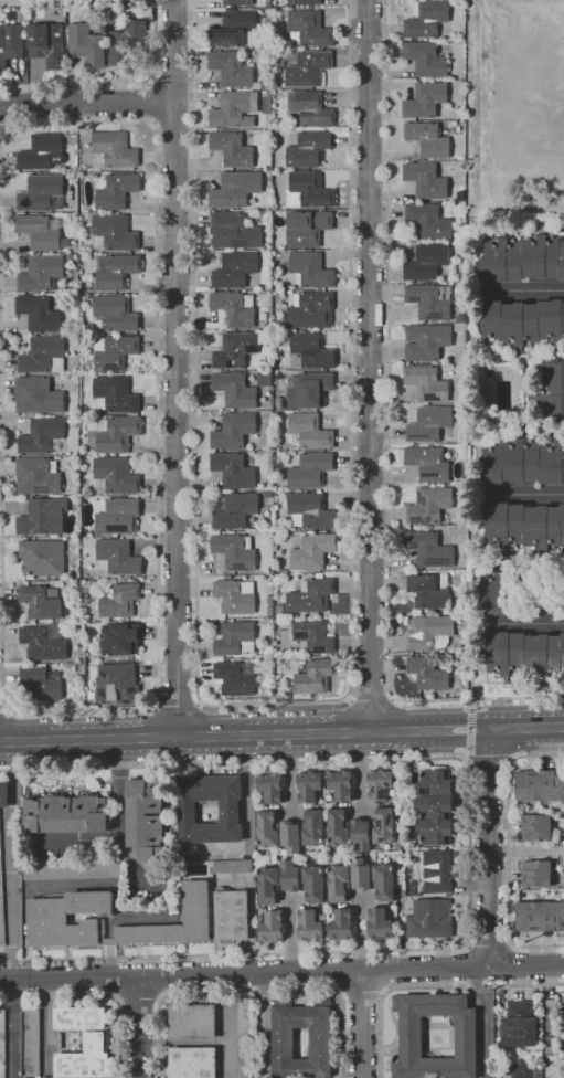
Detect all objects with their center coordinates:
building: (237, 2)
building: (305, 2)
building: (21, 15)
building: (427, 19)
building: (234, 29)
building: (309, 29)
building: (127, 41)
building: (11, 43)
building: (47, 44)
building: (86, 44)
building: (425, 59)
building: (232, 68)
building: (308, 68)
road: (115, 83)
building: (425, 99)
road: (152, 101)
road: (87, 102)
building: (267, 105)
building: (310, 108)
building: (234, 109)
road: (11, 127)
road: (1, 128)
building: (458, 128)
building: (428, 139)
building: (232, 148)
building: (309, 149)
building: (114, 150)
building: (42, 152)
building: (460, 157)
building: (426, 180)
building: (235, 189)
building: (116, 190)
building: (308, 190)
building: (42, 192)
building: (428, 221)
building: (308, 228)
building: (233, 231)
building: (41, 232)
building: (114, 232)
building: (76, 249)
building: (70, 257)
building: (523, 258)
building: (427, 262)
building: (235, 268)
building: (116, 271)
building: (310, 271)
building: (42, 273)
building: (74, 273)
building: (290, 290)
road: (528, 290)
building: (57, 292)
building: (88, 296)
building: (430, 300)
building: (235, 308)
building: (311, 309)
building: (39, 313)
building: (115, 314)
building: (461, 318)
building: (523, 321)
building: (265, 325)
building: (460, 327)
building: (427, 341)
building: (235, 349)
building: (311, 350)
building: (114, 351)
building: (43, 355)
road: (370, 366)
road: (177, 368)
building: (265, 379)
building: (427, 382)
building: (309, 389)
building: (235, 390)
building: (552, 391)
building: (486, 393)
building: (115, 394)
building: (38, 395)
building: (429, 423)
building: (234, 430)
building: (308, 432)
building: (117, 433)
road: (391, 433)
building: (43, 435)
building: (523, 462)
building: (428, 463)
building: (233, 469)
building: (310, 471)
building: (115, 475)
building: (38, 476)
building: (268, 494)
road: (525, 496)
building: (429, 505)
building: (235, 510)
building: (310, 510)
building: (43, 517)
building: (118, 517)
building: (523, 526)
building: (429, 549)
building: (235, 551)
building: (313, 551)
building: (118, 557)
building: (43, 558)
building: (429, 591)
building: (501, 593)
building: (311, 594)
building: (235, 595)
building: (120, 600)
building: (270, 600)
building: (41, 601)
building: (543, 601)
building: (279, 610)
building: (269, 611)
building: (278, 620)
building: (269, 622)
road: (530, 626)
building: (429, 633)
building: (313, 636)
building: (119, 637)
building: (235, 638)
building: (44, 642)
building: (523, 654)
building: (428, 674)
building: (315, 676)
building: (235, 678)
building: (41, 684)
building: (116, 684)
building: (284, 696)
road: (393, 698)
road: (349, 699)
road: (372, 700)
road: (472, 701)
road: (200, 704)
road: (273, 704)
road: (151, 707)
road: (177, 707)
road: (7, 708)
road: (2, 710)
road: (470, 731)
road: (281, 733)
road: (489, 758)
road: (510, 758)
road: (470, 762)
road: (360, 772)
road: (290, 773)
building: (435, 782)
building: (341, 784)
building: (380, 784)
building: (309, 785)
building: (540, 785)
building: (270, 786)
building: (4, 794)
building: (230, 812)
building: (66, 813)
building: (148, 820)
building: (435, 820)
road: (119, 823)
building: (384, 825)
building: (267, 827)
building: (313, 827)
building: (338, 827)
building: (536, 827)
building: (361, 834)
building: (291, 836)
road: (75, 841)
road: (489, 846)
road: (509, 850)
road: (526, 850)
road: (470, 852)
building: (245, 857)
building: (252, 857)
road: (10, 859)
building: (232, 866)
building: (72, 870)
building: (437, 871)
building: (536, 874)
building: (361, 875)
building: (290, 876)
building: (384, 883)
building: (313, 884)
building: (339, 884)
building: (268, 885)
building: (413, 887)
building: (1, 900)
building: (55, 913)
building: (232, 916)
building: (540, 916)
building: (429, 919)
building: (380, 924)
building: (341, 926)
building: (273, 927)
building: (310, 927)
road: (361, 934)
road: (290, 936)
road: (489, 942)
road: (281, 973)
road: (471, 987)
road: (252, 993)
road: (97, 995)
building: (562, 996)
road: (362, 1001)
road: (13, 1002)
building: (81, 1018)
road: (487, 1021)
building: (562, 1021)
building: (193, 1022)
road: (362, 1025)
building: (520, 1025)
road: (138, 1027)
building: (411, 1037)
building: (245, 1038)
road: (383, 1038)
building: (60, 1042)
building: (33, 1043)
building: (2, 1044)
building: (284, 1044)
road: (12, 1050)
building: (85, 1059)
building: (193, 1063)
building: (522, 1070)

